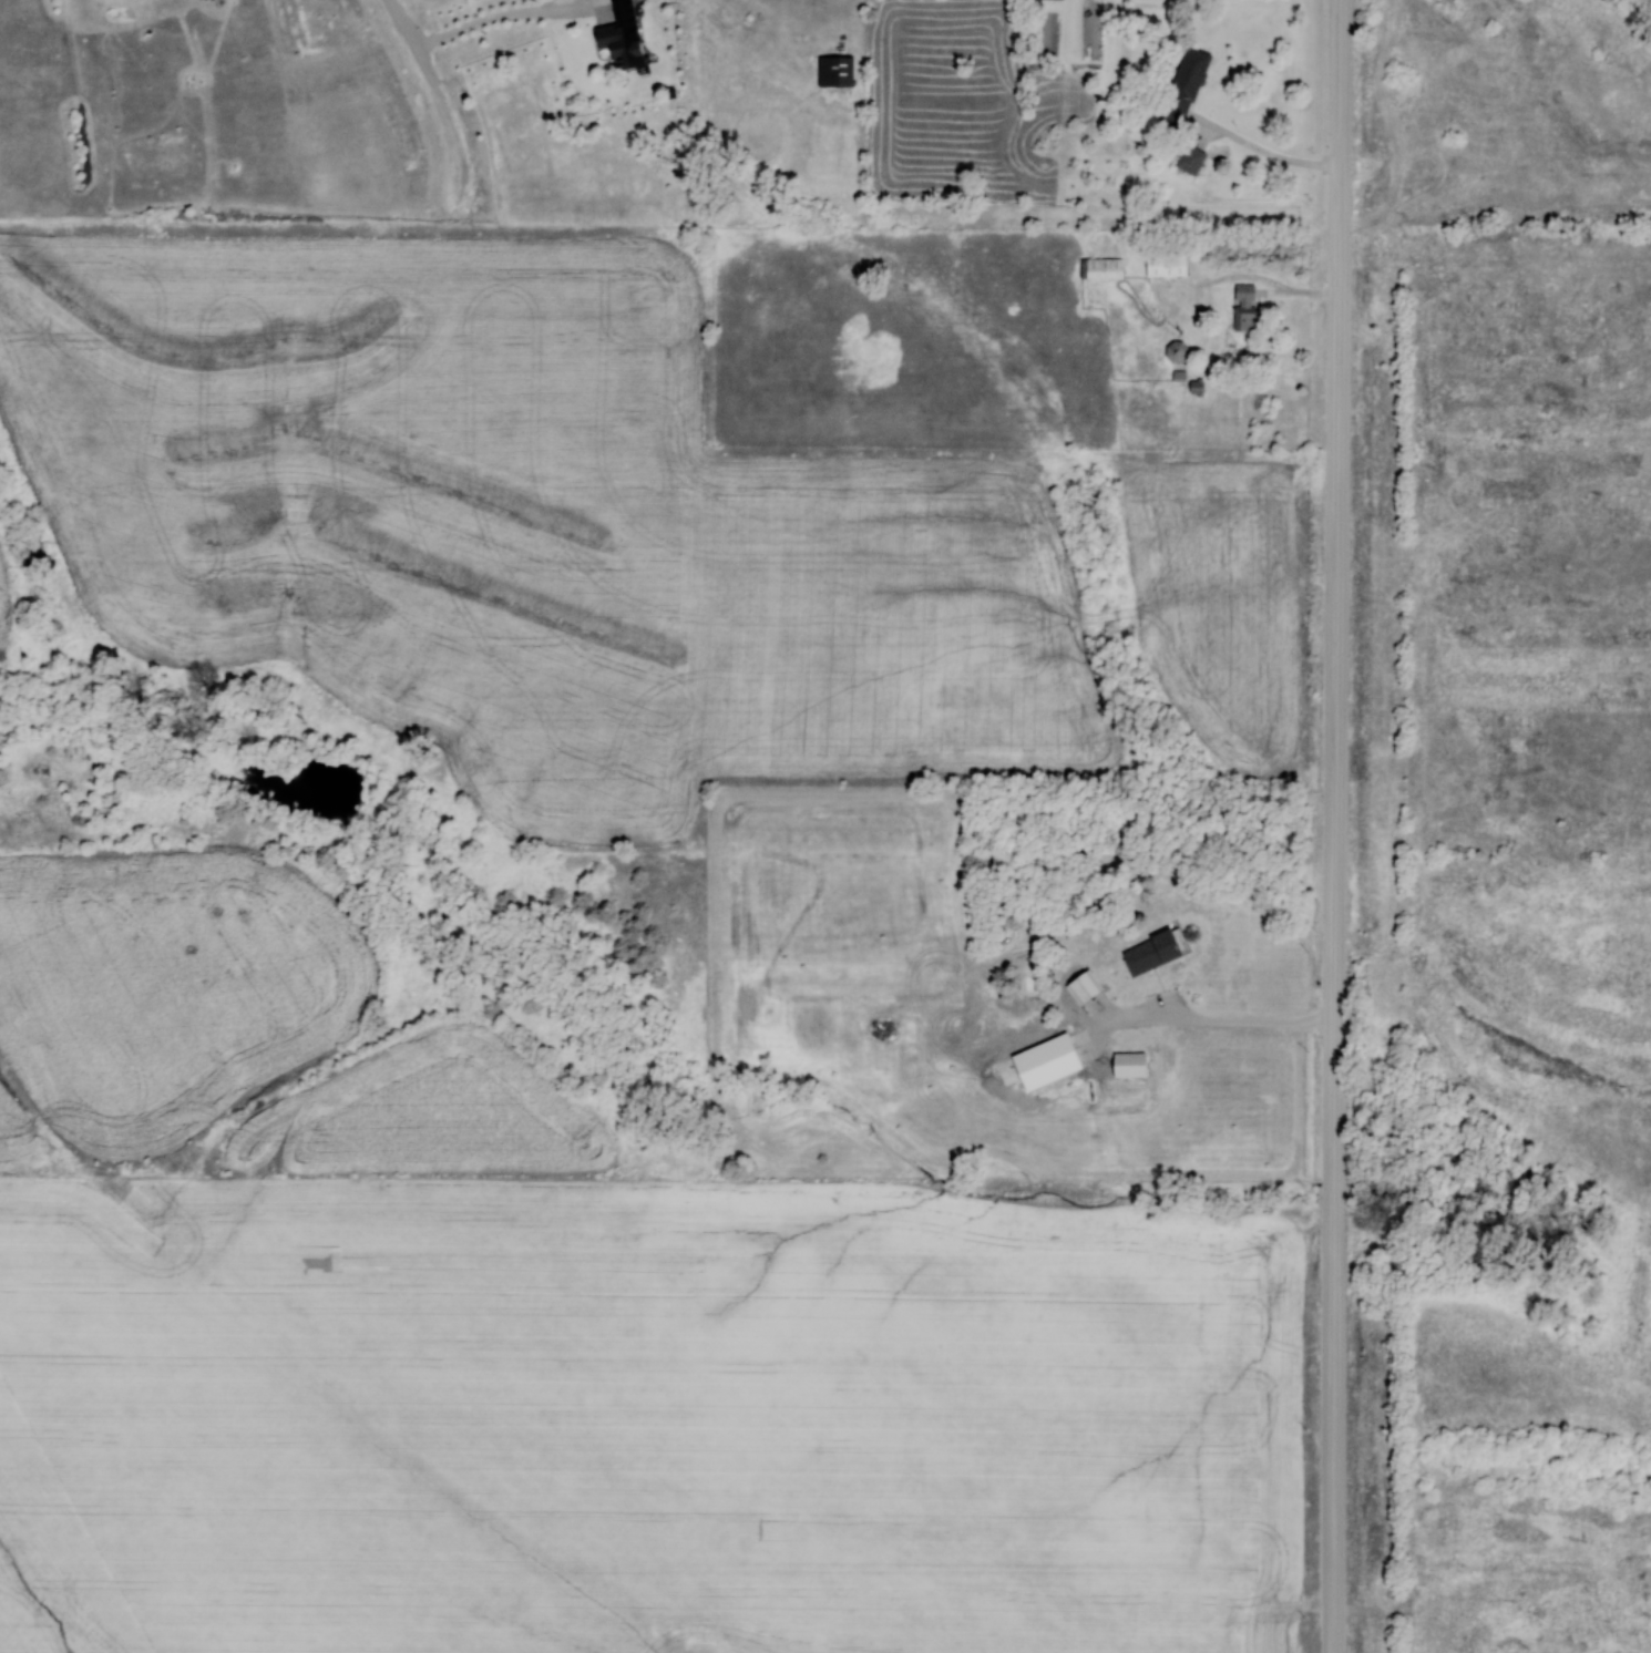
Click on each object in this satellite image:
road: (485, 8)
building: (616, 41)
building: (833, 70)
building: (1181, 86)
road: (447, 106)
road: (1268, 150)
building: (1188, 157)
building: (1162, 264)
building: (1098, 267)
building: (1242, 307)
building: (1173, 352)
road: (1335, 825)
building: (1150, 952)
building: (1080, 985)
road: (1206, 1020)
building: (1126, 1064)

